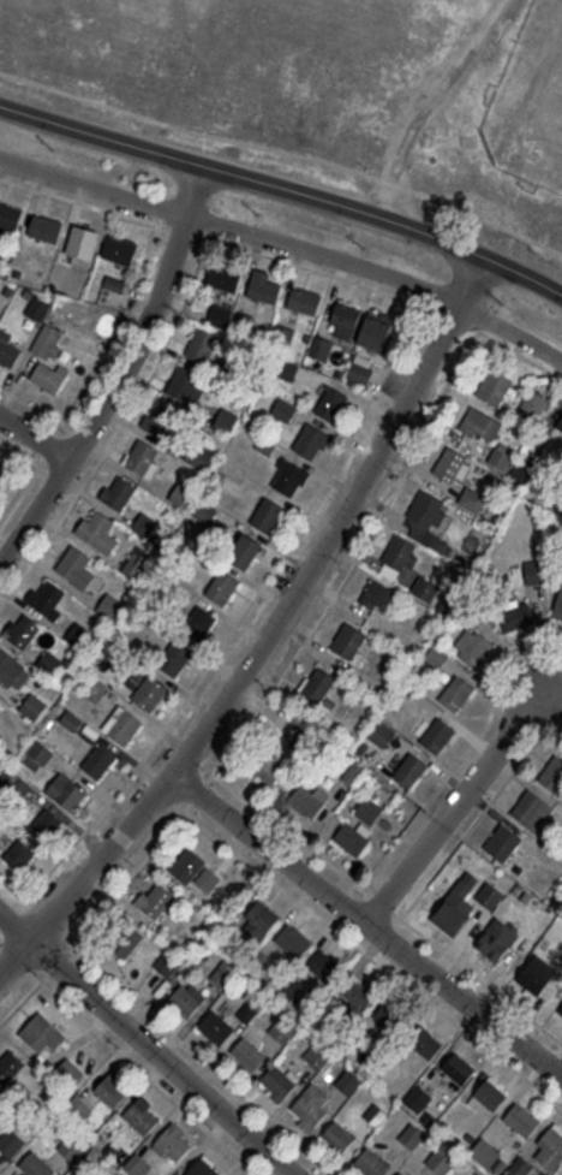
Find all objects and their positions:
park: (528, 99)
road: (429, 101)
road: (285, 150)
road: (285, 185)
road: (84, 202)
building: (10, 214)
building: (44, 226)
road: (232, 226)
road: (181, 231)
building: (119, 249)
road: (317, 269)
building: (223, 277)
road: (477, 279)
building: (263, 286)
building: (304, 299)
building: (37, 308)
building: (220, 314)
building: (345, 318)
road: (455, 319)
road: (482, 319)
road: (474, 326)
building: (376, 328)
road: (513, 330)
road: (115, 331)
building: (281, 336)
building: (202, 344)
building: (319, 346)
road: (519, 351)
building: (48, 358)
building: (360, 368)
road: (121, 372)
building: (186, 384)
building: (494, 386)
building: (330, 402)
building: (532, 403)
road: (36, 408)
building: (283, 409)
building: (163, 420)
building: (225, 420)
building: (558, 422)
building: (479, 425)
road: (118, 429)
road: (79, 433)
road: (36, 435)
building: (309, 439)
road: (50, 444)
building: (140, 455)
building: (501, 455)
building: (202, 457)
road: (23, 458)
building: (453, 465)
building: (0, 474)
road: (53, 476)
building: (288, 476)
road: (22, 488)
building: (119, 491)
building: (181, 494)
building: (471, 498)
building: (265, 514)
building: (424, 514)
building: (144, 523)
building: (97, 529)
building: (245, 547)
building: (399, 556)
building: (72, 562)
building: (137, 562)
building: (534, 571)
building: (222, 586)
building: (424, 587)
building: (46, 597)
building: (379, 597)
building: (558, 605)
building: (516, 616)
road: (238, 621)
building: (199, 622)
building: (22, 629)
building: (348, 640)
building: (472, 646)
building: (436, 654)
building: (173, 655)
road: (259, 657)
building: (48, 663)
building: (10, 670)
building: (317, 683)
building: (94, 688)
building: (148, 690)
building: (455, 692)
road: (268, 693)
building: (32, 705)
road: (558, 710)
road: (537, 713)
road: (551, 725)
building: (122, 726)
building: (381, 732)
building: (437, 735)
building: (37, 754)
road: (464, 754)
building: (97, 759)
building: (264, 766)
building: (409, 769)
building: (552, 772)
building: (18, 783)
building: (71, 793)
road: (465, 796)
building: (309, 799)
building: (531, 808)
building: (367, 809)
road: (477, 815)
building: (47, 824)
road: (291, 832)
building: (352, 836)
building: (502, 842)
building: (19, 854)
building: (187, 865)
building: (207, 878)
road: (12, 888)
building: (489, 894)
building: (154, 898)
road: (381, 902)
building: (261, 916)
building: (449, 916)
road: (6, 918)
road: (371, 919)
building: (497, 937)
building: (291, 938)
building: (126, 940)
road: (371, 957)
building: (167, 965)
building: (324, 965)
building: (222, 972)
building: (534, 974)
road: (477, 977)
building: (358, 993)
building: (186, 997)
building: (249, 1009)
building: (558, 1013)
building: (390, 1015)
building: (216, 1026)
building: (281, 1029)
building: (42, 1032)
building: (425, 1042)
road: (150, 1043)
building: (247, 1052)
building: (315, 1055)
road: (202, 1060)
building: (10, 1064)
building: (71, 1067)
building: (459, 1068)
road: (149, 1078)
building: (277, 1080)
building: (110, 1090)
building: (489, 1093)
building: (417, 1097)
building: (307, 1108)
building: (375, 1114)
building: (140, 1115)
building: (521, 1118)
building: (337, 1135)
building: (411, 1135)
building: (10, 1141)
building: (172, 1141)
building: (71, 1146)
building: (549, 1147)
building: (485, 1152)
building: (371, 1161)
building: (440, 1161)
building: (34, 1164)
building: (137, 1164)
building: (203, 1167)
building: (524, 1167)
building: (400, 1173)
building: (66, 1174)

